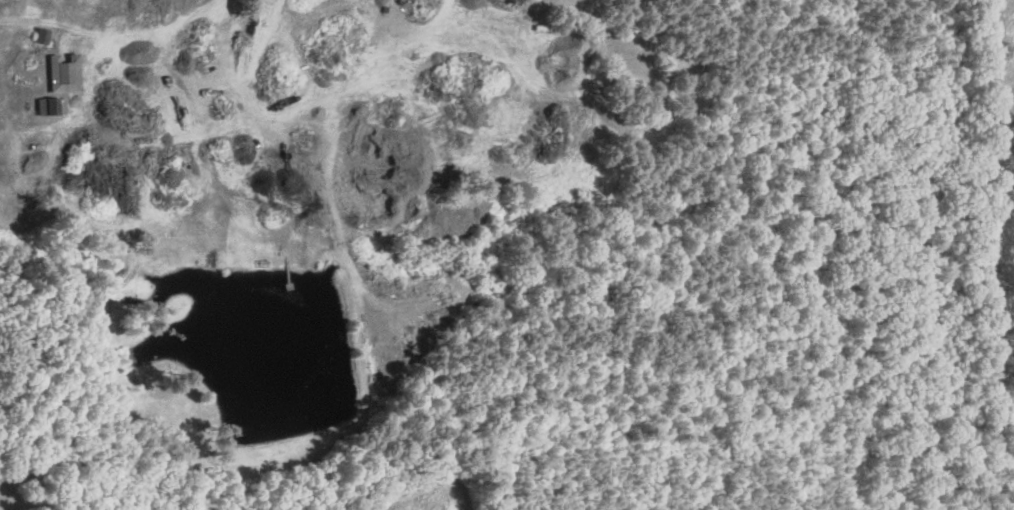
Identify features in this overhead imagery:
building: (41, 36)
road: (127, 49)
building: (59, 74)
building: (46, 107)
road: (248, 129)

